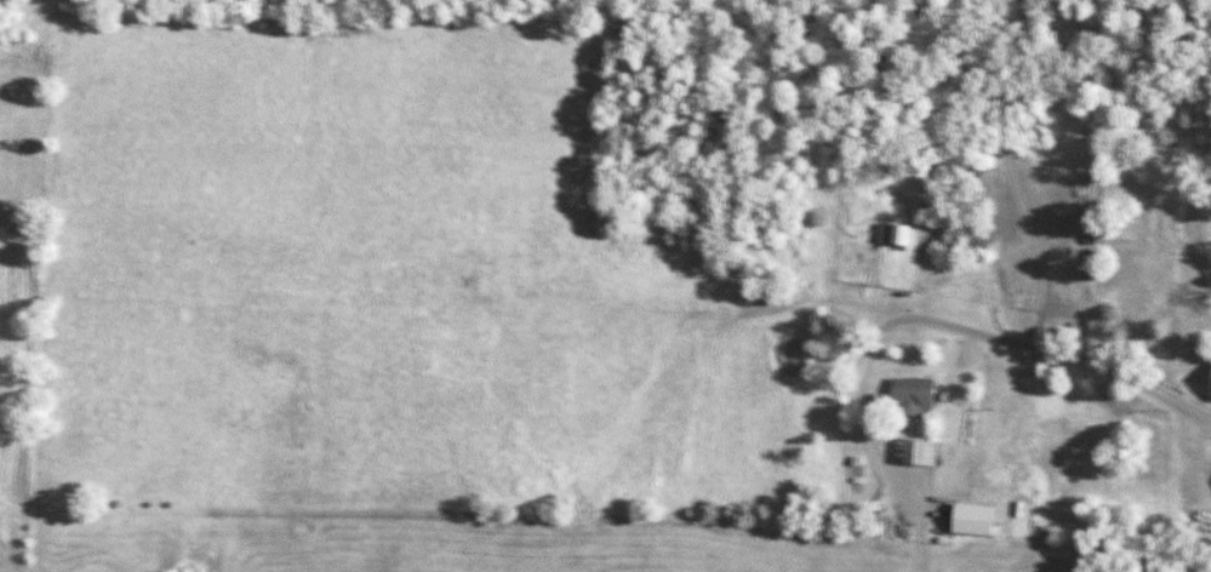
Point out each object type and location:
road: (1013, 173)
building: (892, 234)
road: (993, 337)
building: (1210, 389)
building: (910, 394)
road: (866, 424)
building: (919, 452)
building: (971, 519)

